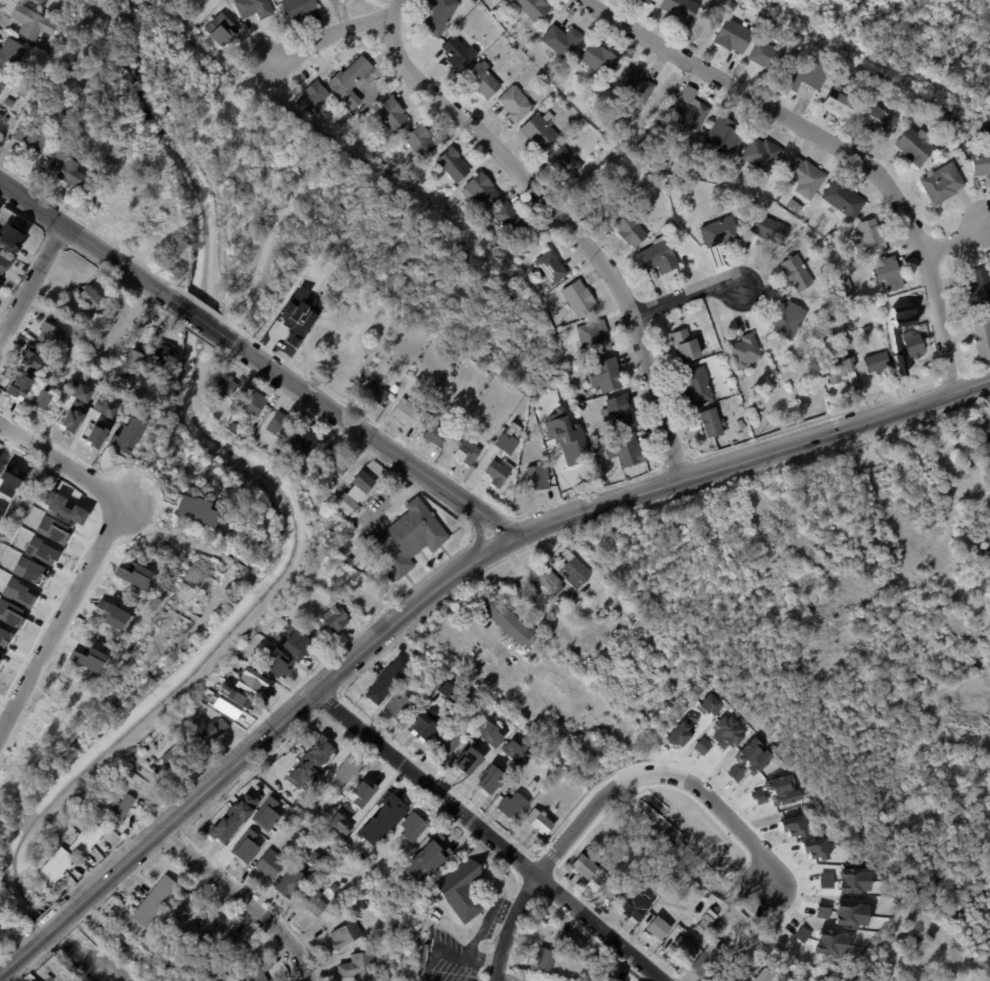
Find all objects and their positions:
building: (495, 0)
building: (40, 1)
building: (330, 1)
building: (473, 1)
building: (646, 1)
building: (253, 7)
building: (298, 8)
building: (534, 8)
building: (681, 9)
building: (479, 11)
building: (438, 15)
building: (470, 19)
building: (31, 22)
building: (221, 30)
road: (336, 32)
building: (734, 35)
building: (562, 39)
building: (513, 45)
building: (9, 52)
building: (458, 52)
building: (531, 53)
building: (767, 54)
building: (798, 55)
building: (599, 58)
building: (810, 72)
building: (540, 74)
building: (482, 78)
building: (349, 80)
building: (0, 84)
building: (633, 86)
building: (21, 91)
building: (312, 97)
building: (8, 102)
building: (840, 102)
building: (515, 103)
building: (690, 110)
building: (392, 113)
building: (1, 116)
building: (878, 118)
building: (5, 119)
building: (953, 120)
building: (615, 126)
building: (539, 130)
building: (986, 130)
building: (725, 135)
building: (27, 136)
building: (419, 140)
road: (835, 143)
building: (916, 145)
building: (762, 153)
building: (962, 155)
building: (981, 160)
building: (564, 161)
building: (660, 163)
building: (452, 164)
building: (67, 166)
building: (805, 176)
building: (943, 183)
building: (480, 189)
building: (774, 193)
building: (843, 198)
building: (602, 202)
building: (795, 205)
building: (508, 219)
road: (570, 227)
building: (630, 229)
building: (769, 229)
building: (721, 231)
building: (9, 232)
building: (869, 237)
road: (960, 243)
road: (91, 244)
building: (658, 256)
building: (3, 264)
building: (551, 267)
building: (530, 270)
building: (797, 273)
building: (889, 273)
road: (32, 284)
building: (848, 287)
building: (979, 287)
building: (88, 296)
road: (686, 297)
building: (579, 298)
building: (919, 301)
building: (317, 308)
road: (201, 319)
building: (790, 320)
building: (112, 325)
building: (867, 329)
building: (288, 330)
building: (49, 334)
building: (594, 338)
building: (982, 339)
building: (913, 344)
building: (685, 346)
building: (743, 351)
building: (161, 352)
building: (30, 357)
building: (569, 359)
building: (877, 362)
building: (127, 365)
building: (840, 368)
building: (605, 375)
building: (18, 385)
building: (224, 386)
building: (698, 386)
building: (78, 391)
building: (376, 392)
building: (39, 399)
building: (150, 401)
building: (749, 402)
building: (253, 403)
building: (232, 405)
building: (103, 407)
building: (618, 411)
building: (408, 415)
building: (70, 419)
building: (711, 422)
building: (741, 424)
building: (231, 425)
building: (279, 425)
building: (588, 425)
parking lot: (989, 428)
road: (366, 433)
building: (436, 435)
building: (507, 438)
building: (300, 441)
building: (569, 446)
building: (466, 450)
building: (625, 450)
road: (751, 455)
building: (333, 460)
road: (61, 462)
building: (497, 473)
building: (538, 477)
building: (6, 491)
building: (354, 494)
building: (64, 508)
building: (406, 539)
building: (574, 570)
building: (547, 579)
building: (358, 594)
road: (61, 616)
building: (303, 617)
building: (335, 618)
road: (469, 619)
building: (508, 621)
building: (413, 650)
building: (286, 652)
building: (389, 680)
building: (250, 682)
building: (448, 683)
building: (232, 705)
building: (399, 708)
building: (421, 729)
building: (203, 732)
building: (494, 737)
building: (445, 745)
road: (252, 746)
building: (514, 751)
building: (171, 757)
building: (310, 763)
building: (347, 767)
building: (466, 767)
road: (660, 776)
building: (489, 779)
building: (533, 785)
building: (370, 788)
building: (314, 792)
building: (513, 806)
building: (121, 809)
building: (318, 812)
building: (233, 817)
building: (381, 820)
building: (539, 823)
building: (339, 824)
building: (412, 825)
road: (489, 836)
building: (85, 841)
building: (438, 842)
building: (271, 863)
building: (410, 864)
building: (56, 865)
building: (585, 868)
building: (293, 880)
building: (611, 890)
building: (460, 891)
building: (154, 900)
road: (242, 900)
building: (314, 900)
building: (638, 904)
building: (186, 905)
road: (509, 926)
building: (687, 927)
building: (203, 928)
building: (656, 928)
building: (345, 933)
building: (568, 941)
building: (230, 949)
building: (679, 952)
building: (544, 958)
building: (707, 962)
building: (358, 967)
building: (256, 972)
building: (727, 973)
building: (761, 975)
building: (775, 978)
building: (30, 980)
building: (524, 980)

